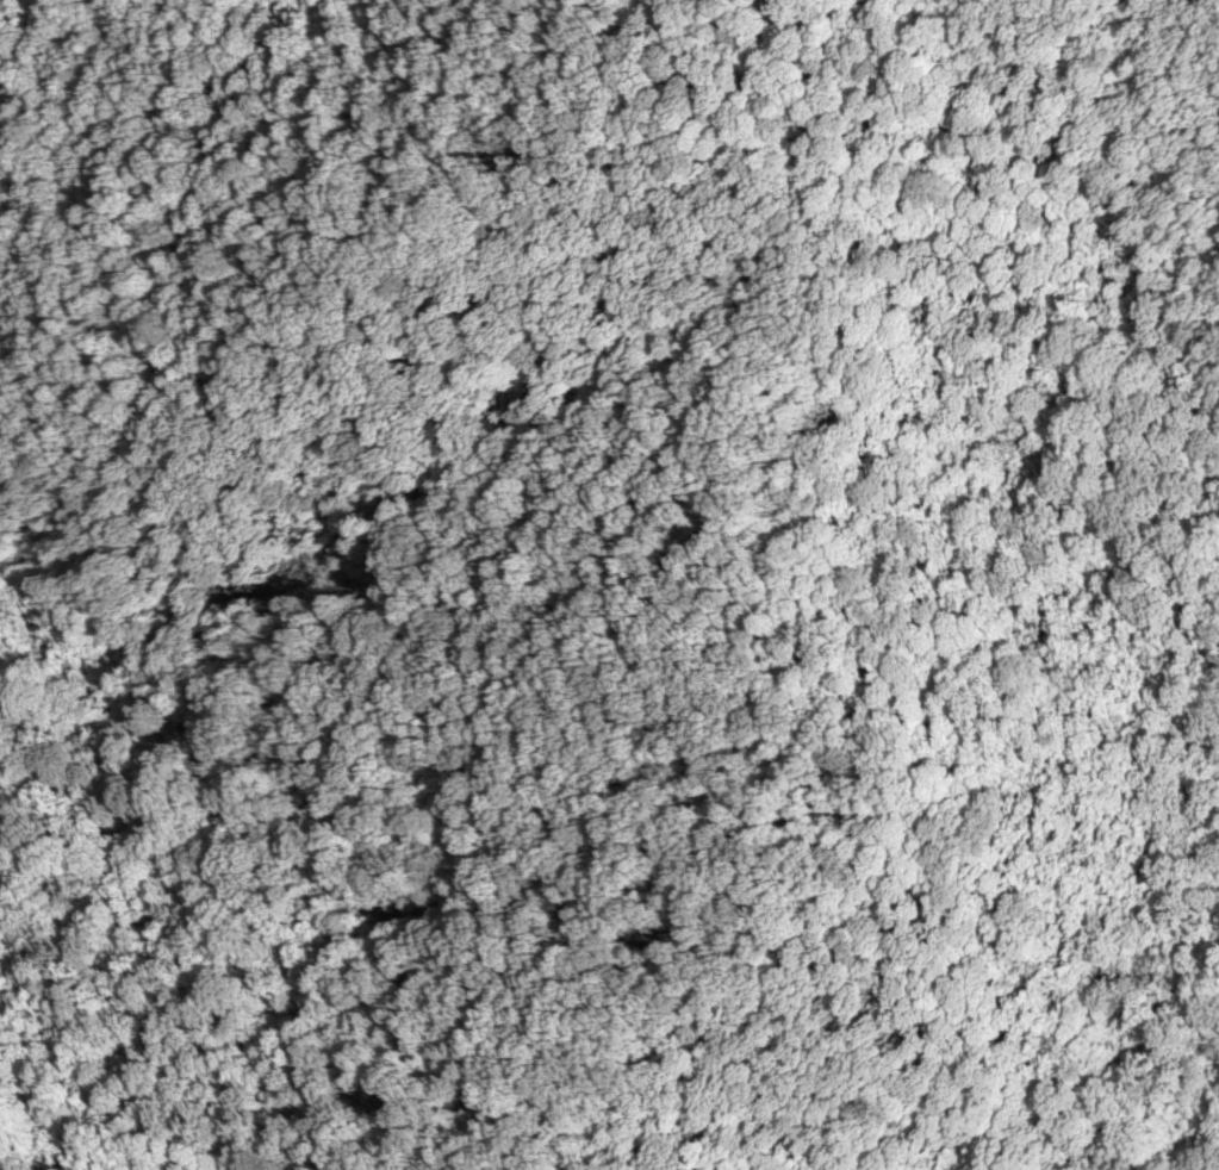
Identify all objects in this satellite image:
road: (960, 784)

